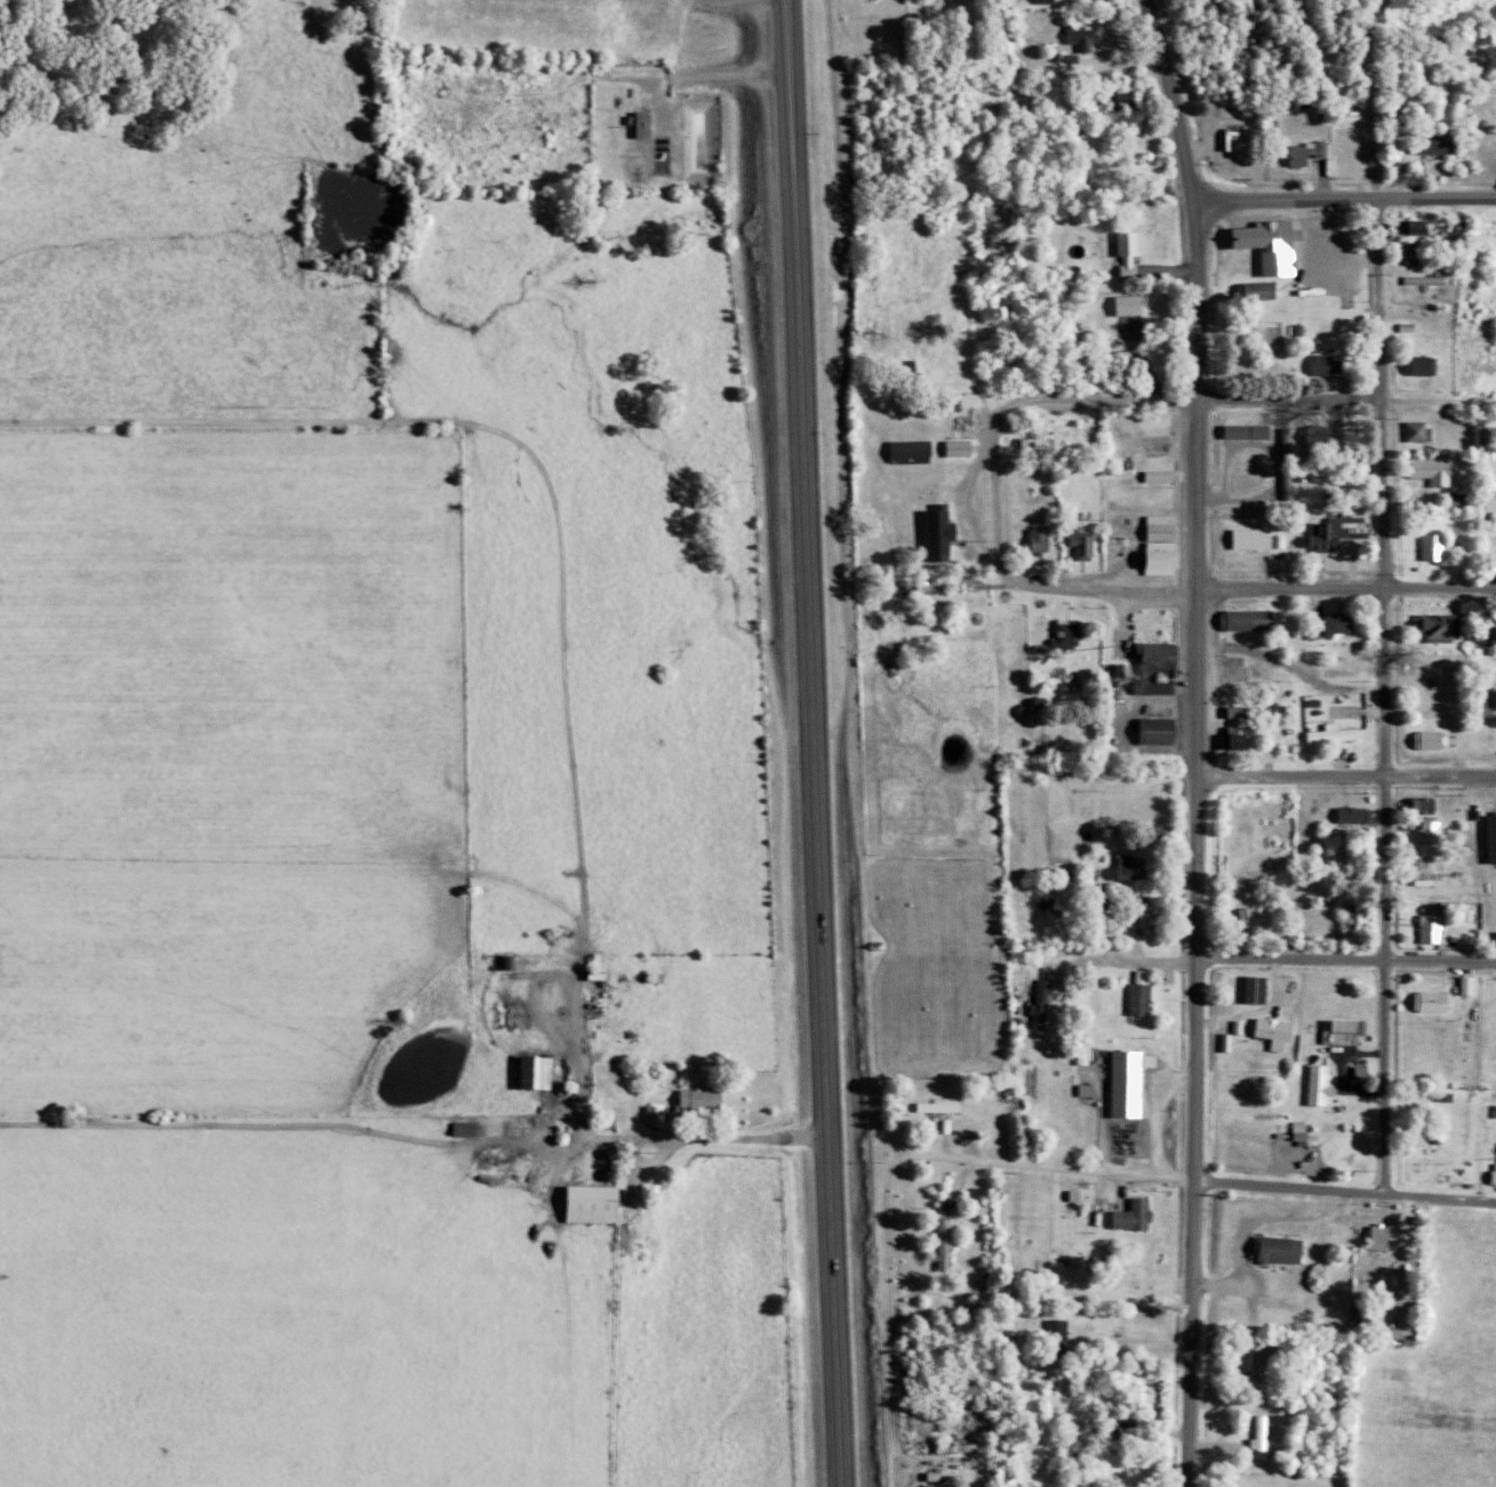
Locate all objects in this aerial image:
building: (1052, 0)
building: (1085, 38)
road: (1370, 96)
road: (1177, 97)
road: (1130, 101)
building: (648, 124)
building: (1241, 140)
building: (1442, 144)
building: (1312, 153)
building: (1408, 160)
road: (1345, 197)
building: (1424, 228)
building: (1278, 245)
building: (1135, 250)
building: (1432, 280)
building: (1265, 291)
building: (1135, 305)
road: (798, 312)
building: (1330, 364)
building: (1428, 365)
road: (1229, 400)
building: (1423, 431)
building: (1253, 432)
building: (1322, 436)
building: (1048, 444)
building: (964, 448)
building: (916, 451)
building: (1438, 471)
building: (1461, 500)
road: (998, 507)
road: (962, 511)
building: (1344, 532)
building: (945, 534)
building: (1257, 539)
building: (1046, 541)
building: (1087, 545)
building: (1167, 545)
building: (1439, 548)
building: (1073, 564)
building: (1494, 568)
road: (1241, 588)
building: (1252, 620)
building: (1345, 624)
building: (1446, 628)
building: (1318, 632)
building: (1074, 635)
building: (1491, 642)
road: (1260, 655)
building: (1161, 658)
building: (1123, 671)
road: (1388, 695)
building: (1250, 712)
building: (1163, 731)
building: (1339, 735)
building: (1438, 740)
road: (573, 749)
road: (1348, 776)
building: (1430, 806)
building: (1359, 815)
building: (1495, 826)
building: (1435, 833)
road: (1198, 842)
building: (1138, 866)
building: (1262, 916)
building: (1152, 919)
building: (1438, 928)
road: (1142, 959)
road: (1346, 961)
building: (1473, 985)
building: (1262, 989)
building: (1147, 993)
building: (1437, 1001)
building: (1047, 1003)
building: (1350, 1031)
building: (1280, 1032)
road: (828, 1055)
building: (541, 1071)
building: (1134, 1081)
building: (1325, 1088)
building: (1092, 1090)
building: (707, 1100)
building: (945, 1106)
building: (661, 1115)
building: (952, 1125)
building: (1306, 1131)
road: (1043, 1165)
building: (599, 1203)
building: (1140, 1215)
road: (1251, 1225)
building: (1386, 1237)
building: (950, 1244)
building: (1287, 1249)
building: (1064, 1337)
building: (1267, 1437)
building: (1075, 1455)
building: (958, 1476)

